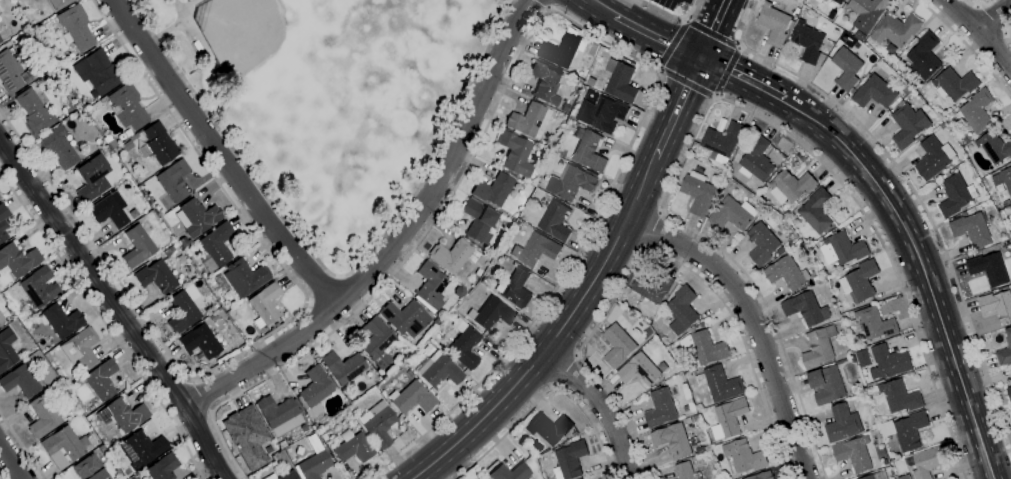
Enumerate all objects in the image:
building: (818, 1)
building: (838, 2)
building: (59, 4)
road: (189, 4)
parking lot: (675, 4)
road: (979, 4)
road: (543, 5)
road: (600, 6)
building: (797, 11)
building: (867, 12)
building: (832, 15)
road: (994, 15)
road: (561, 16)
road: (672, 18)
road: (993, 19)
road: (179, 23)
building: (773, 24)
building: (75, 27)
road: (713, 28)
building: (896, 30)
road: (981, 31)
park: (242, 32)
road: (713, 32)
road: (655, 34)
road: (1008, 34)
building: (0, 41)
building: (808, 42)
road: (673, 44)
road: (967, 47)
building: (562, 49)
traffic signals: (701, 56)
building: (923, 58)
building: (846, 68)
building: (40, 69)
road: (726, 69)
building: (98, 72)
building: (11, 73)
building: (63, 73)
building: (40, 81)
building: (620, 81)
road: (744, 81)
building: (546, 82)
building: (590, 82)
road: (686, 83)
building: (954, 84)
building: (906, 90)
building: (874, 92)
park: (337, 94)
building: (103, 99)
road: (725, 99)
building: (895, 102)
building: (127, 106)
building: (566, 108)
building: (34, 112)
building: (976, 112)
building: (601, 114)
building: (529, 120)
building: (908, 125)
building: (942, 126)
road: (665, 136)
building: (919, 138)
building: (109, 141)
building: (722, 141)
building: (158, 144)
building: (59, 147)
building: (994, 147)
building: (588, 149)
building: (118, 150)
building: (561, 152)
building: (514, 154)
road: (220, 156)
building: (933, 158)
building: (756, 160)
building: (92, 178)
building: (1003, 179)
building: (174, 180)
building: (570, 183)
building: (790, 186)
building: (493, 189)
road: (911, 190)
building: (697, 192)
building: (955, 195)
building: (0, 196)
building: (1006, 203)
building: (1010, 208)
building: (109, 210)
building: (816, 211)
building: (732, 214)
building: (197, 216)
building: (478, 221)
building: (555, 221)
building: (3, 222)
building: (972, 230)
road: (653, 231)
road: (398, 239)
building: (763, 241)
building: (183, 242)
building: (137, 246)
building: (216, 246)
building: (842, 249)
building: (170, 250)
building: (535, 250)
building: (491, 251)
road: (651, 252)
building: (453, 255)
building: (18, 259)
building: (181, 259)
building: (989, 269)
road: (920, 272)
road: (332, 273)
building: (786, 273)
building: (155, 276)
building: (245, 277)
building: (816, 280)
building: (484, 281)
building: (859, 281)
building: (39, 287)
building: (430, 287)
building: (651, 287)
road: (321, 288)
building: (514, 288)
building: (459, 291)
building: (833, 303)
building: (265, 304)
building: (997, 305)
road: (115, 307)
building: (8, 309)
building: (183, 309)
building: (805, 309)
building: (682, 310)
building: (456, 313)
building: (491, 314)
building: (213, 316)
building: (1, 317)
building: (405, 318)
building: (60, 320)
road: (105, 322)
building: (436, 322)
road: (751, 322)
building: (871, 324)
building: (630, 332)
road: (269, 335)
building: (640, 341)
building: (200, 342)
building: (376, 342)
building: (464, 344)
building: (615, 344)
building: (440, 346)
building: (818, 347)
building: (81, 348)
building: (708, 348)
building: (7, 349)
building: (1005, 351)
building: (849, 354)
building: (863, 358)
building: (846, 360)
building: (42, 361)
road: (536, 361)
building: (889, 362)
building: (343, 367)
building: (690, 367)
building: (1010, 369)
building: (639, 370)
building: (438, 371)
road: (565, 372)
building: (409, 374)
building: (102, 380)
building: (19, 381)
building: (719, 384)
building: (826, 385)
building: (315, 392)
road: (544, 393)
building: (1009, 393)
road: (200, 395)
building: (851, 396)
building: (898, 397)
building: (411, 398)
road: (601, 406)
building: (660, 408)
building: (686, 408)
building: (123, 414)
building: (280, 414)
building: (43, 416)
building: (729, 419)
building: (379, 424)
building: (842, 424)
building: (549, 428)
building: (907, 430)
building: (574, 434)
building: (247, 436)
building: (753, 437)
building: (568, 438)
building: (672, 440)
building: (281, 445)
road: (22, 446)
building: (63, 446)
building: (353, 447)
building: (142, 448)
building: (702, 450)
building: (853, 454)
building: (743, 458)
building: (568, 460)
building: (927, 462)
road: (10, 463)
building: (314, 463)
building: (163, 467)
building: (89, 468)
building: (686, 471)
building: (510, 472)
building: (283, 475)
road: (0, 476)
building: (762, 476)
building: (876, 476)
building: (133, 477)
building: (904, 477)
building: (480, 478)
building: (482, 478)
building: (485, 478)

